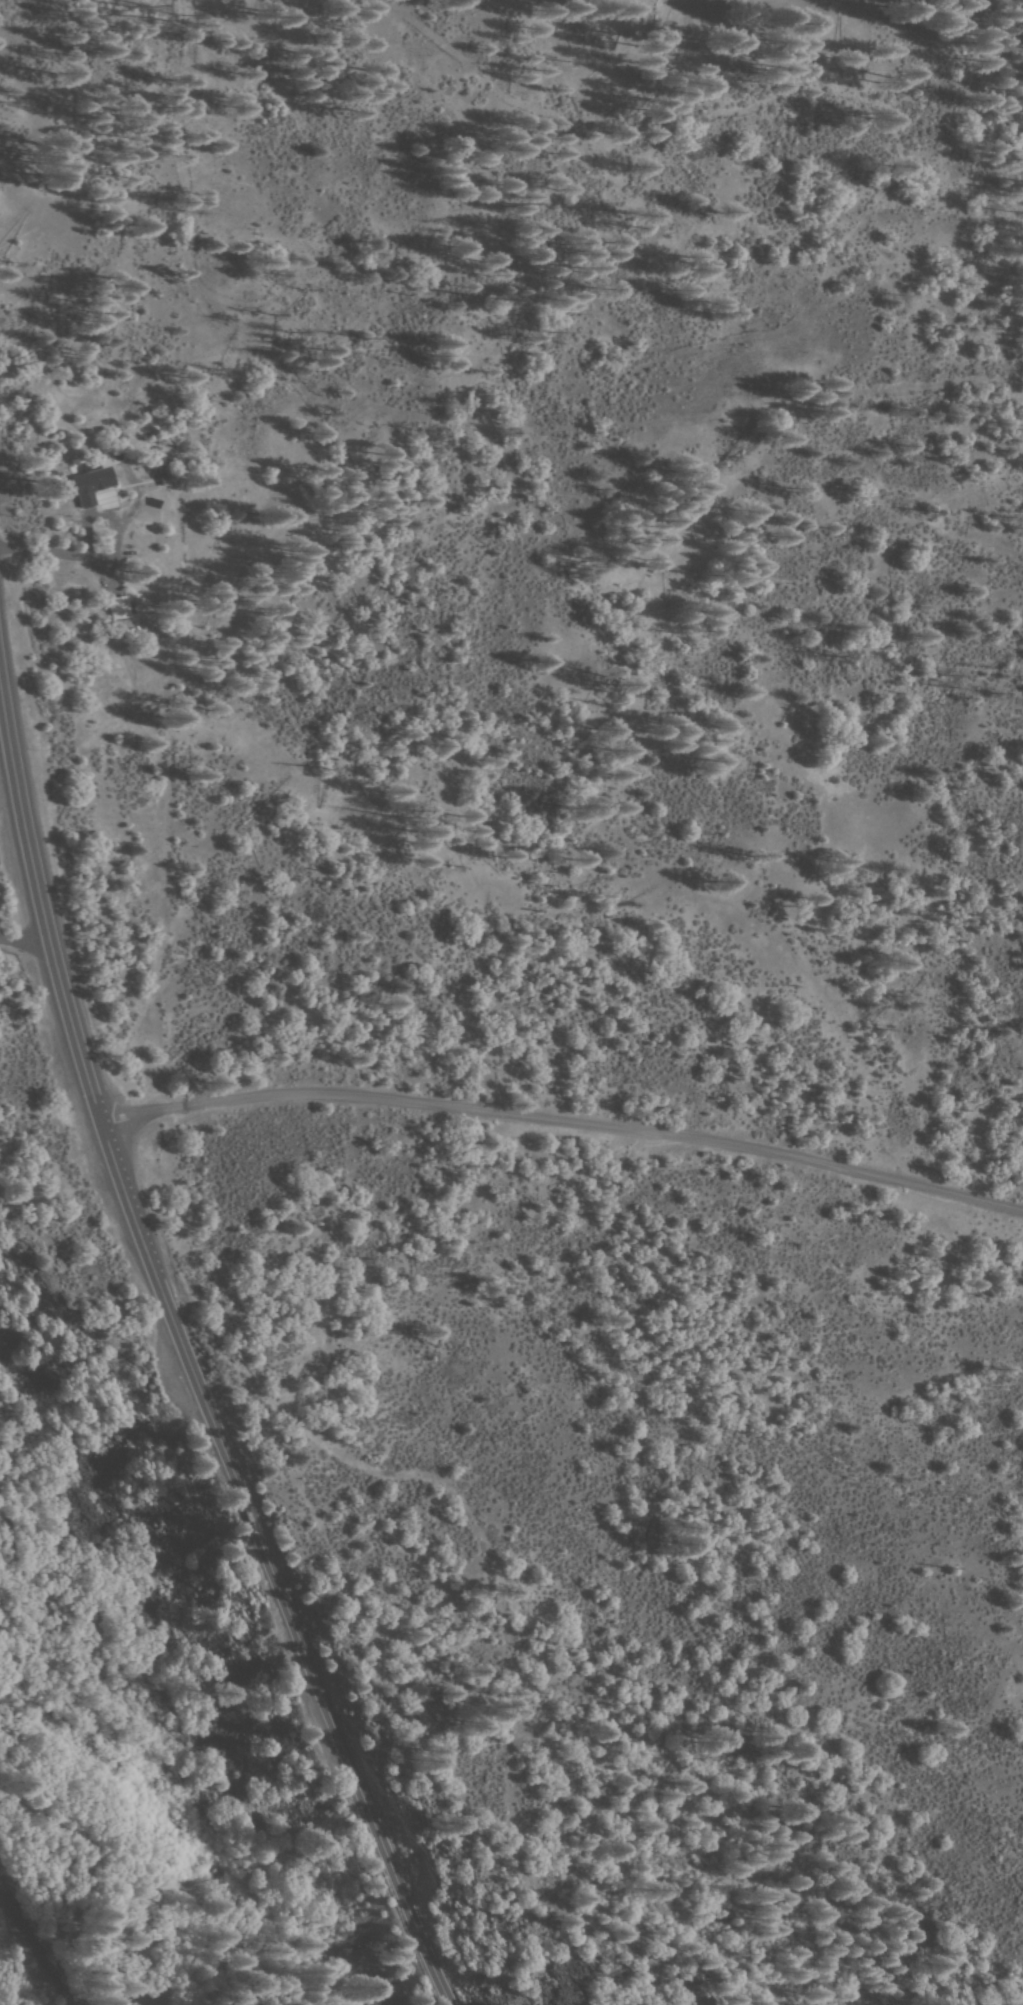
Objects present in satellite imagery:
building: (102, 477)
road: (566, 1122)
road: (185, 1348)

